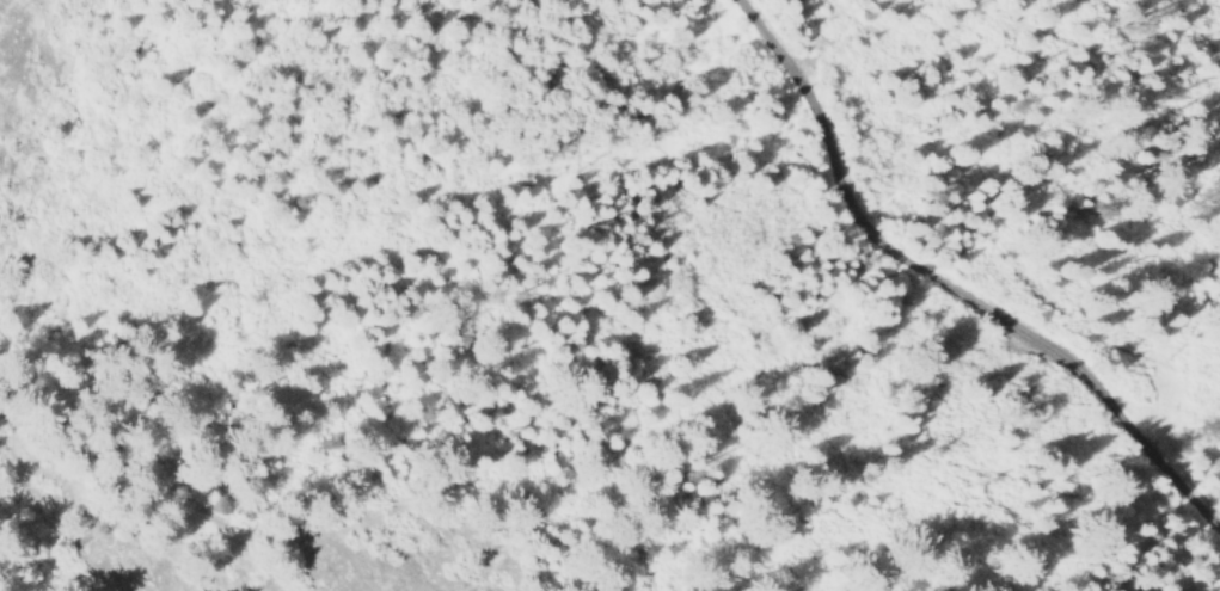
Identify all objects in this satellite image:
road: (946, 294)

